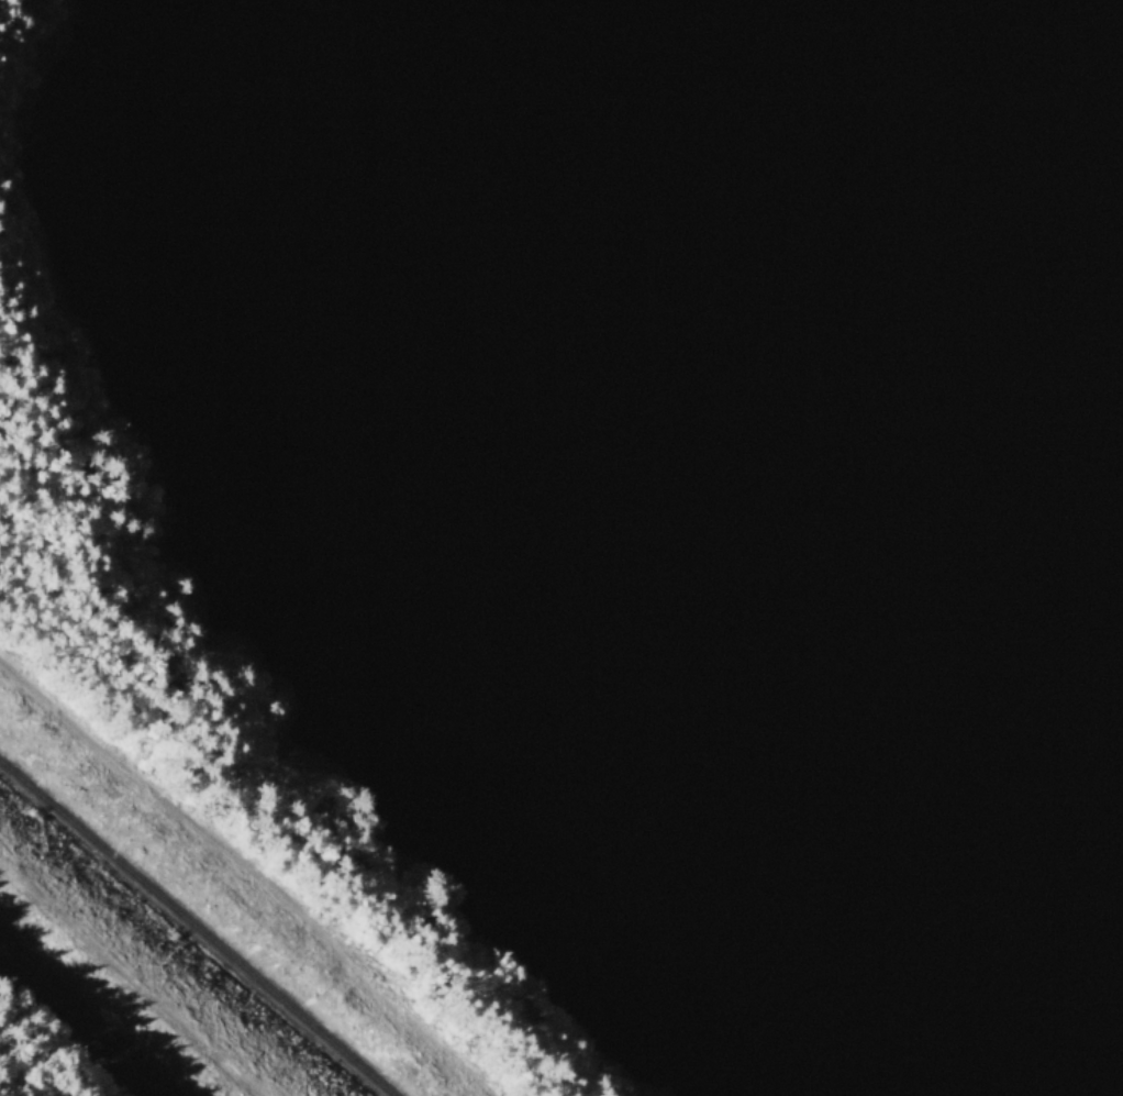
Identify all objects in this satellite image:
river: (1113, 10)
railway: (198, 929)
road: (46, 994)
road: (125, 1066)

